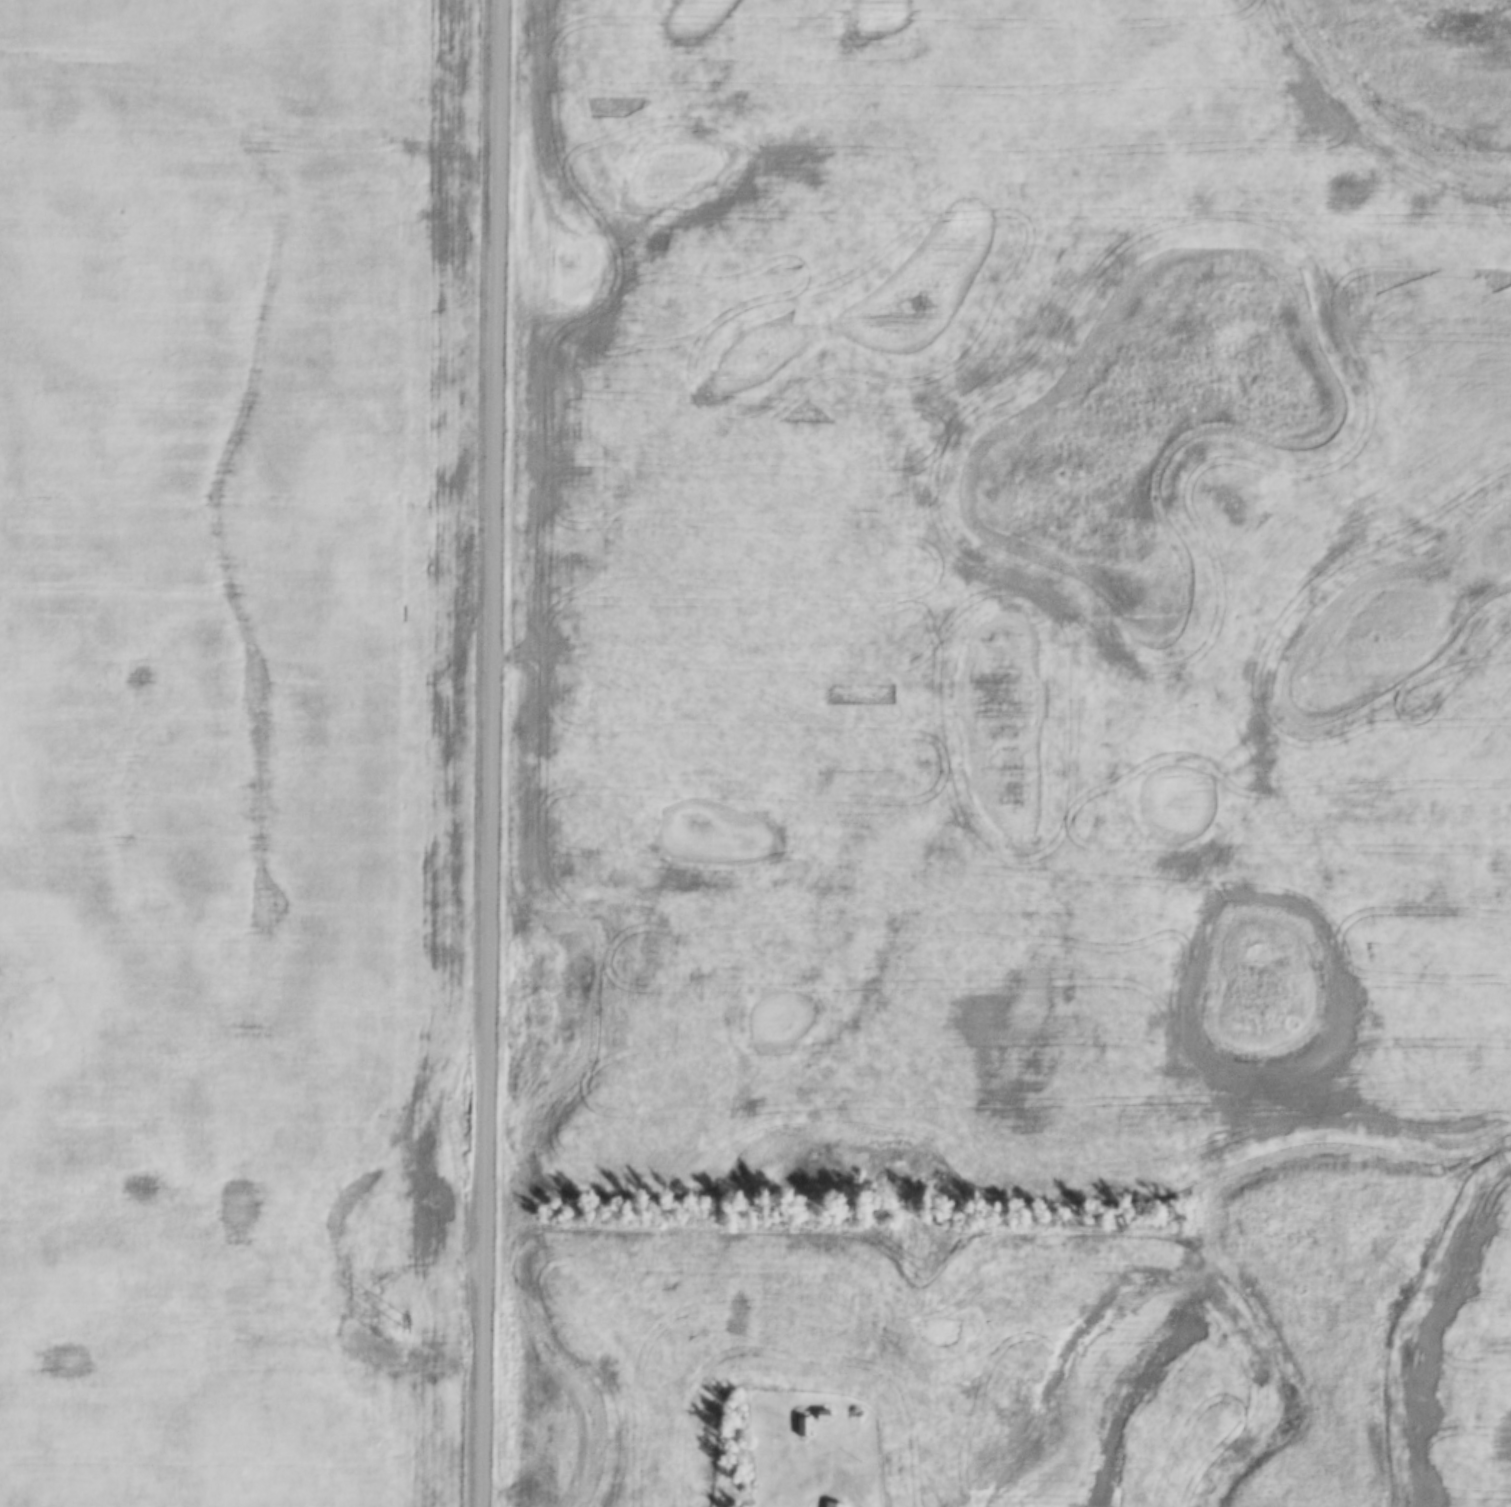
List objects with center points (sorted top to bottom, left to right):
road: (497, 753)
power tower: (914, 1271)
power tower: (1408, 1274)
power tower: (407, 1320)
building: (803, 1426)
road: (850, 1503)

